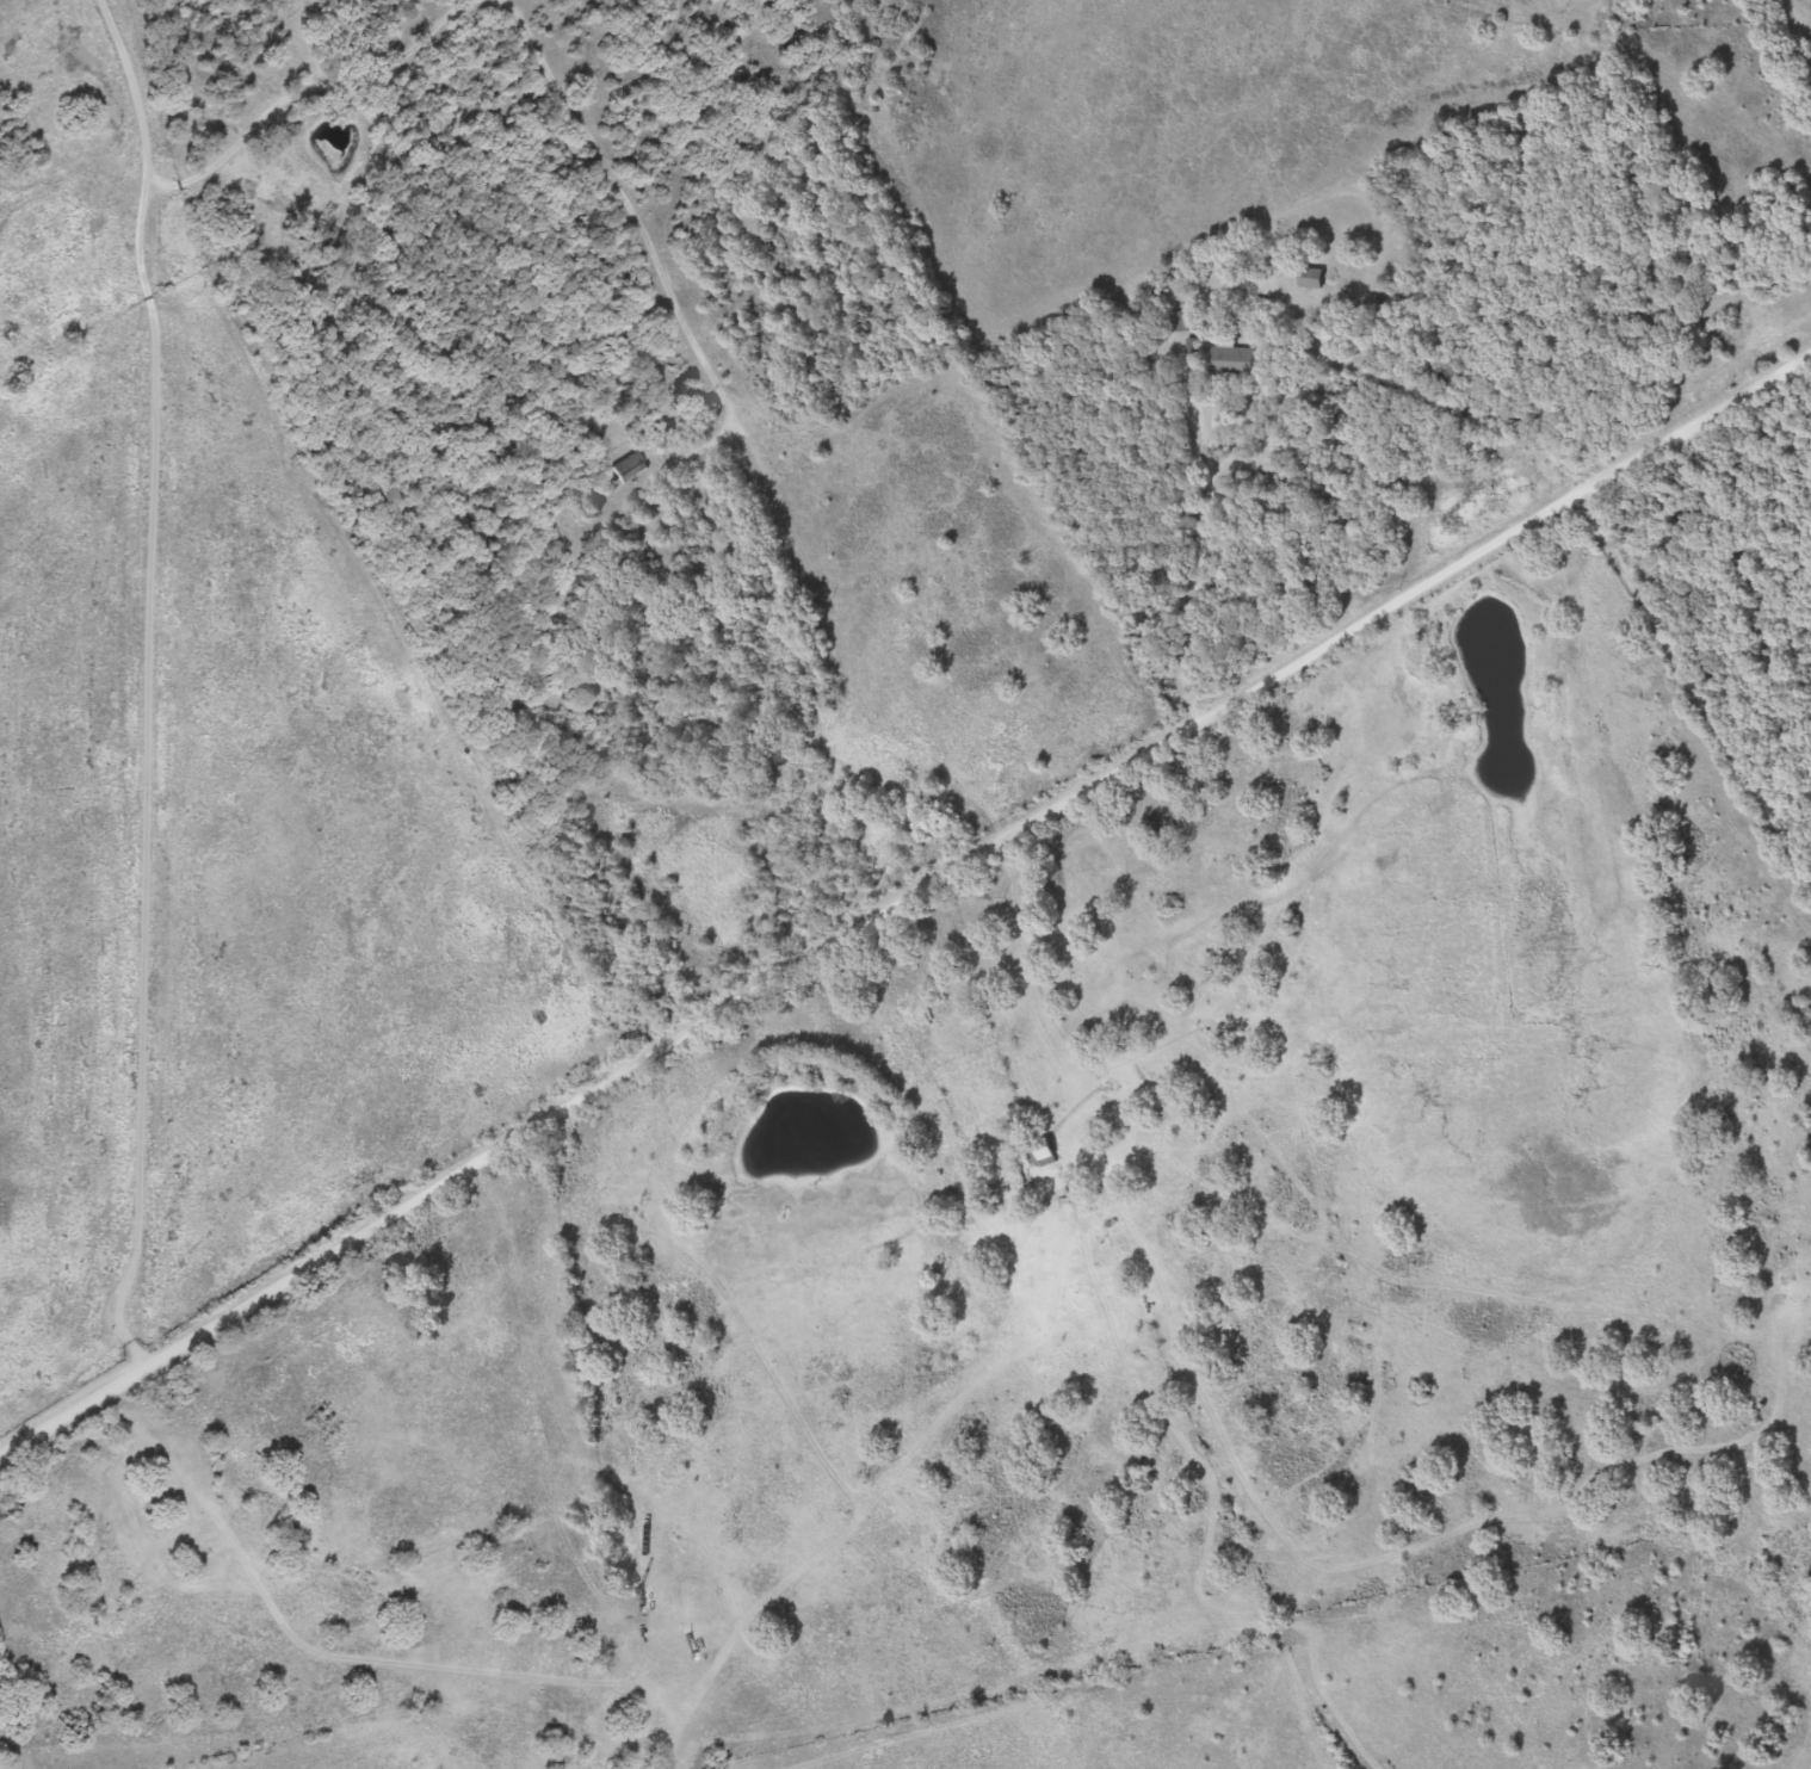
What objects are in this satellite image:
building: (1312, 278)
building: (1181, 321)
building: (1234, 361)
building: (1160, 372)
road: (1172, 401)
building: (629, 468)
road: (840, 651)
road: (148, 678)
road: (1693, 701)
road: (1015, 842)
building: (1045, 1150)
road: (106, 1379)

